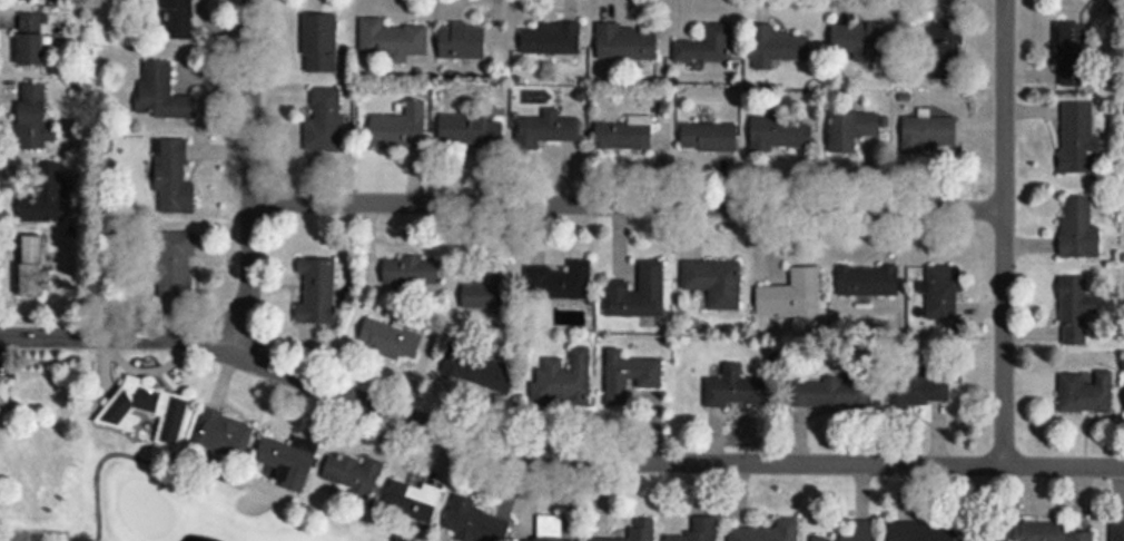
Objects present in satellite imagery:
building: (39, 0)
building: (953, 1)
building: (172, 17)
building: (28, 38)
building: (1074, 39)
building: (862, 40)
building: (553, 41)
building: (392, 43)
building: (464, 43)
building: (628, 45)
building: (321, 46)
building: (707, 48)
building: (945, 48)
building: (778, 49)
building: (157, 90)
building: (27, 114)
building: (325, 124)
building: (402, 130)
building: (472, 131)
building: (546, 131)
building: (852, 131)
building: (781, 134)
building: (927, 134)
building: (625, 137)
building: (1077, 137)
building: (710, 139)
building: (168, 175)
road: (250, 177)
building: (38, 189)
road: (628, 206)
building: (1079, 229)
road: (1004, 233)
building: (170, 263)
building: (28, 266)
building: (413, 273)
building: (869, 282)
building: (560, 283)
building: (716, 284)
building: (313, 288)
building: (941, 292)
building: (639, 295)
building: (485, 297)
building: (792, 297)
building: (1075, 311)
building: (392, 342)
building: (481, 371)
building: (630, 377)
building: (565, 383)
building: (739, 391)
building: (919, 393)
building: (832, 394)
building: (1086, 394)
building: (3, 397)
building: (146, 410)
building: (221, 433)
road: (106, 454)
road: (552, 460)
building: (287, 461)
building: (348, 472)
park: (348, 478)
building: (408, 499)
building: (473, 519)
building: (642, 527)
building: (697, 530)
building: (765, 531)
building: (919, 531)
building: (1117, 531)
building: (850, 532)
building: (1036, 532)
building: (546, 540)

